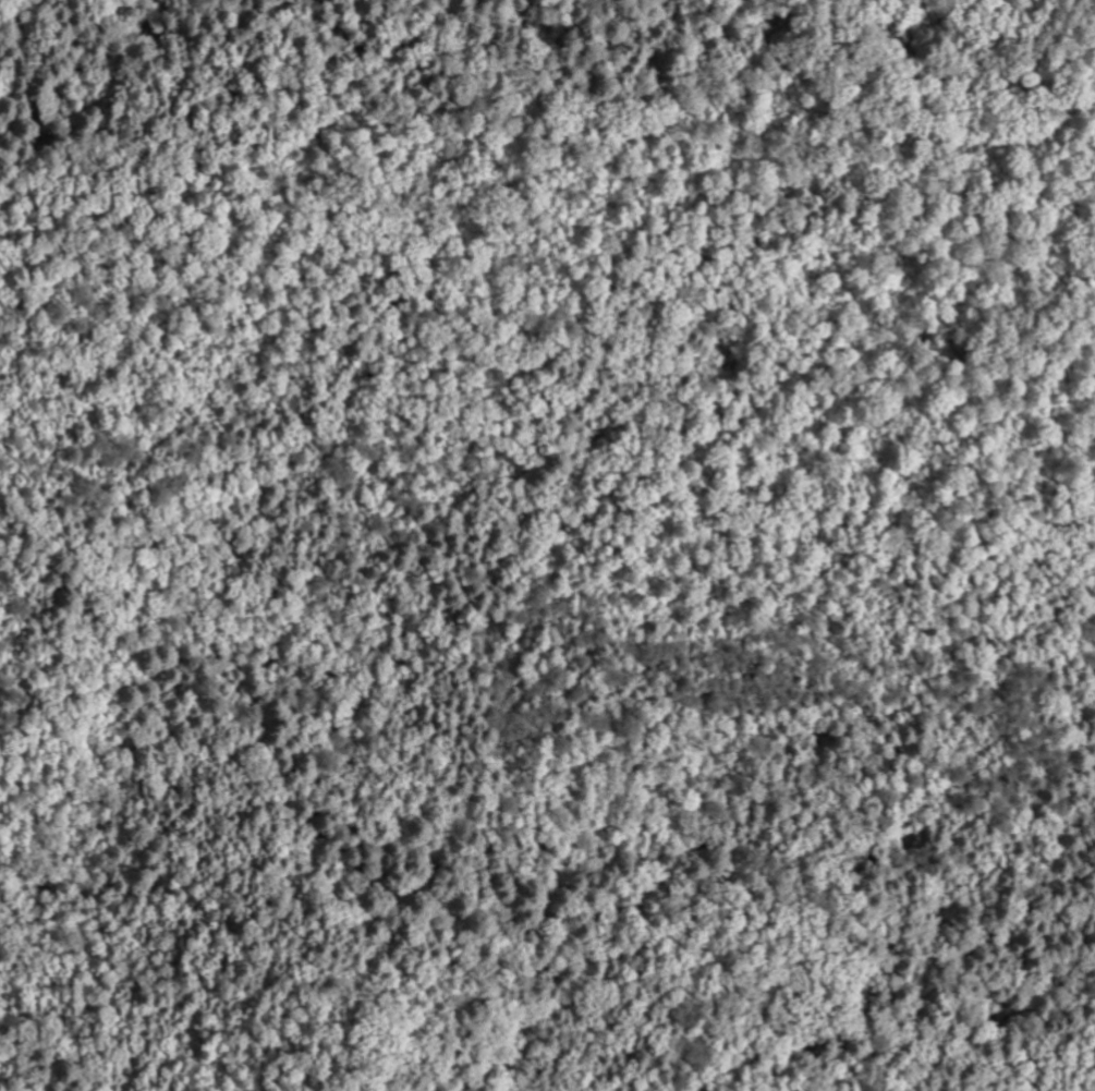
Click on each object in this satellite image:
road: (949, 151)

